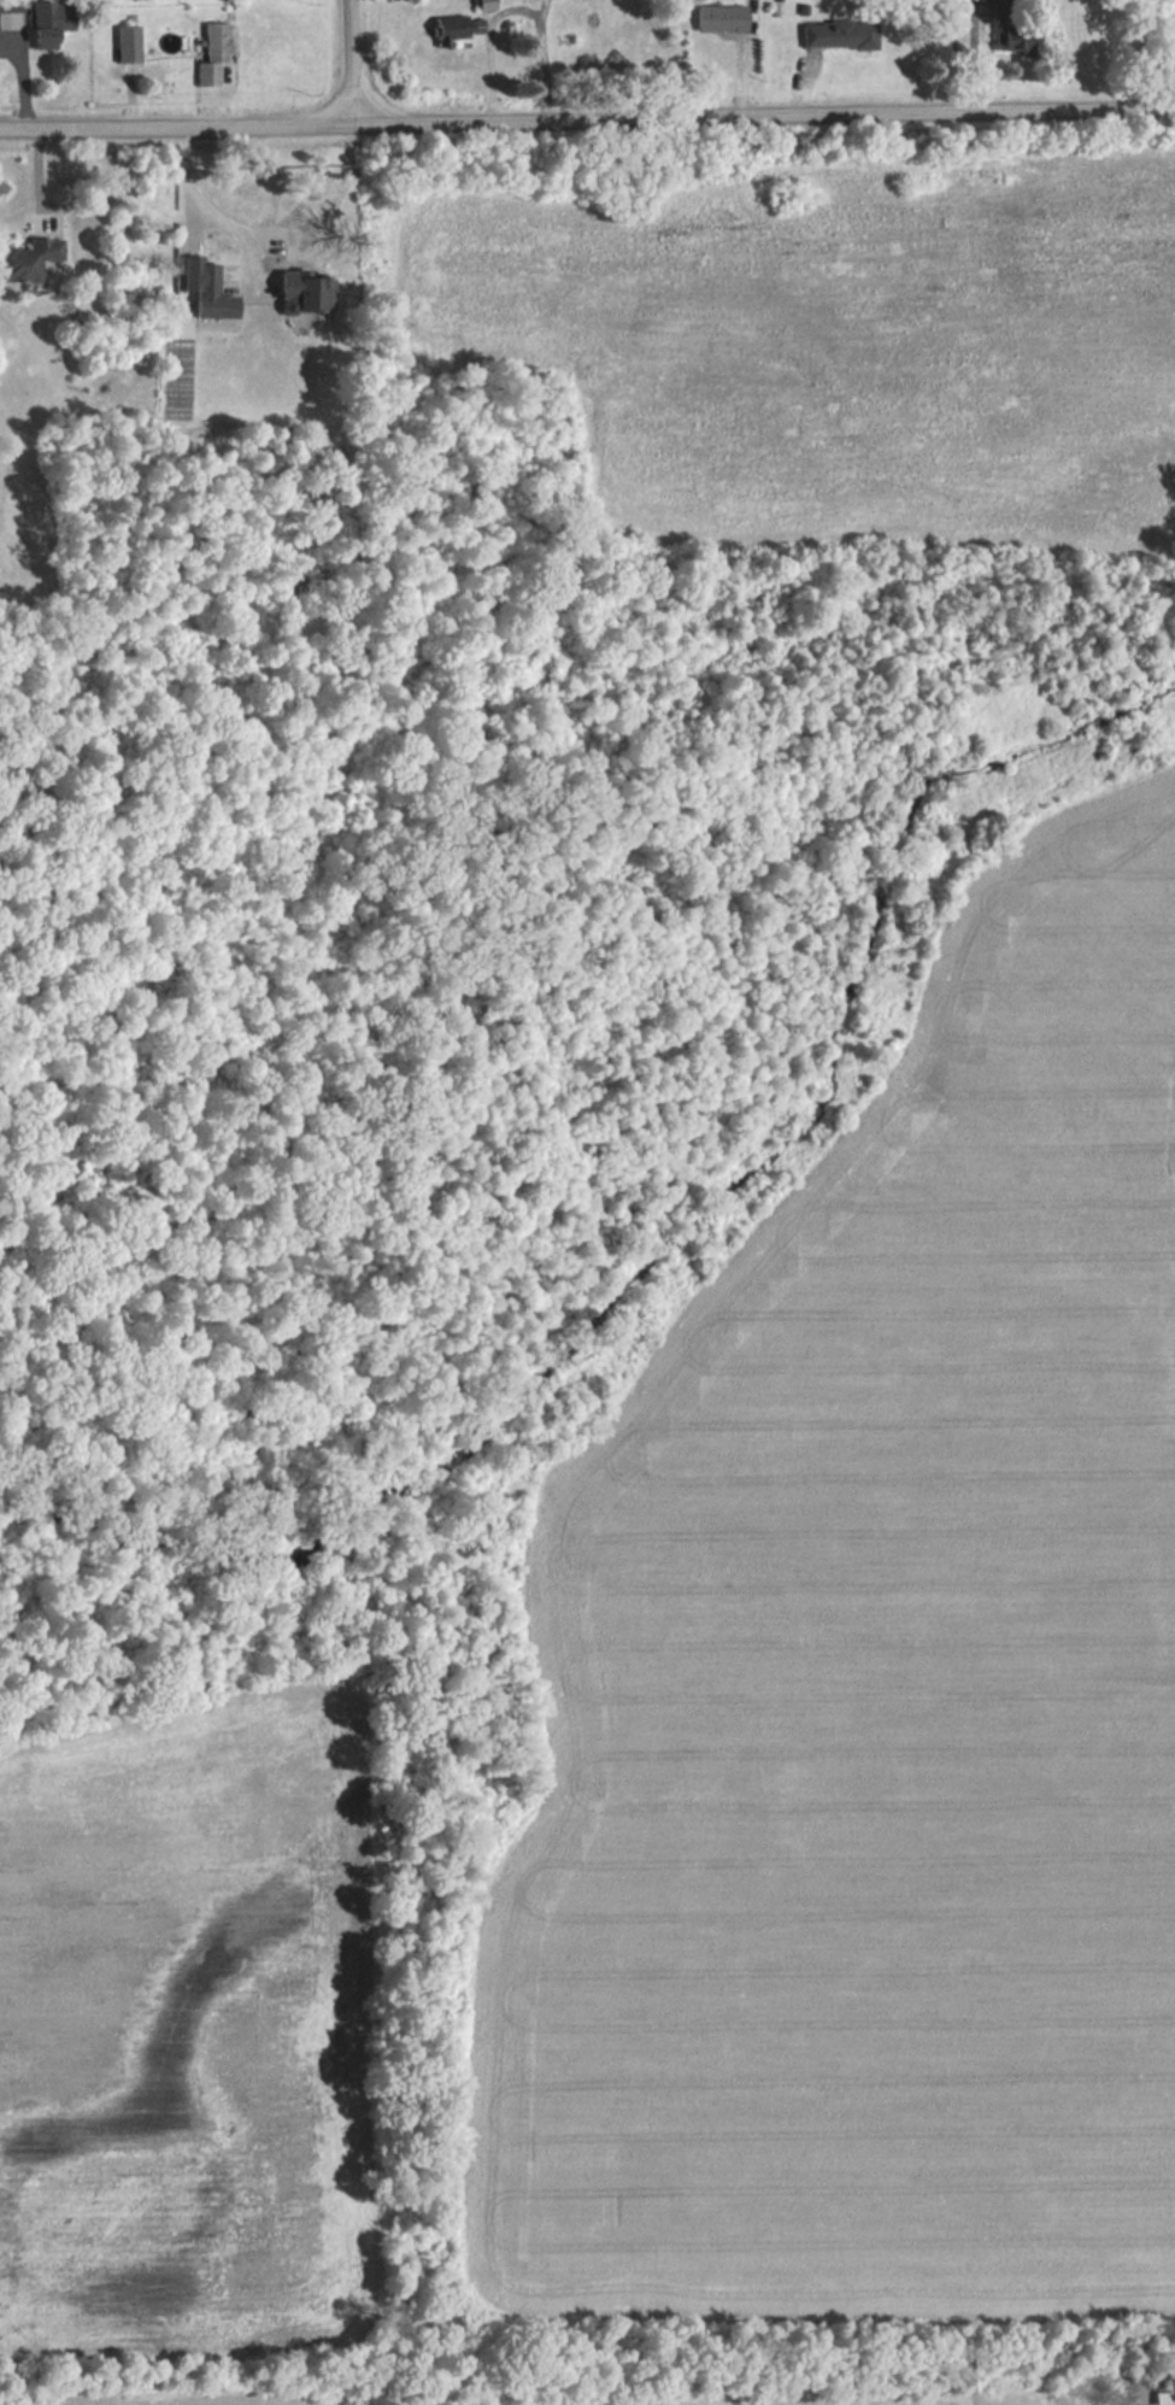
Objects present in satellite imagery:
building: (11, 5)
building: (723, 17)
building: (52, 23)
building: (1010, 27)
building: (841, 34)
building: (460, 36)
building: (130, 42)
road: (973, 53)
building: (216, 55)
road: (352, 58)
road: (489, 70)
road: (587, 115)
road: (210, 199)
building: (29, 258)
building: (307, 291)
building: (216, 294)
building: (1165, 2398)

